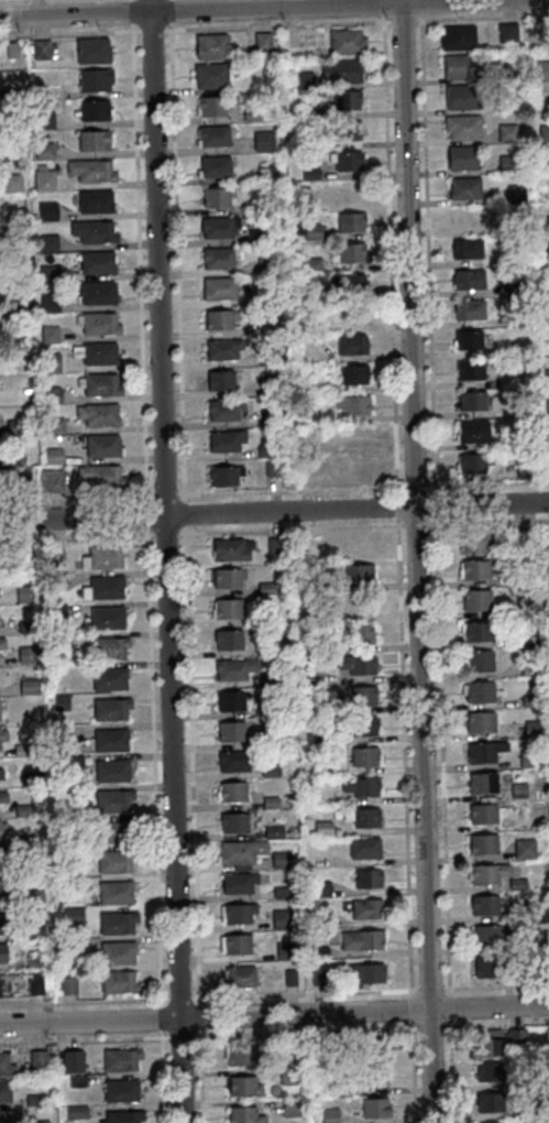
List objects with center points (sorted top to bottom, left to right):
road: (131, 0)
road: (150, 7)
road: (383, 8)
road: (421, 8)
road: (249, 9)
road: (171, 12)
road: (132, 13)
road: (481, 20)
road: (403, 23)
road: (277, 28)
road: (152, 32)
building: (507, 32)
road: (69, 34)
building: (458, 36)
building: (262, 40)
building: (345, 41)
building: (213, 45)
building: (41, 48)
building: (11, 50)
building: (91, 50)
building: (459, 65)
building: (541, 69)
building: (341, 70)
building: (210, 74)
building: (94, 78)
building: (303, 80)
building: (10, 94)
building: (459, 96)
building: (345, 99)
building: (215, 105)
building: (94, 110)
building: (308, 113)
building: (251, 115)
building: (43, 120)
building: (12, 123)
building: (462, 126)
building: (345, 130)
building: (543, 131)
building: (506, 132)
building: (213, 134)
building: (92, 140)
building: (262, 140)
building: (43, 150)
building: (11, 153)
building: (461, 157)
building: (345, 161)
building: (545, 162)
building: (507, 163)
building: (215, 165)
building: (90, 170)
building: (266, 173)
building: (309, 173)
building: (43, 179)
building: (11, 182)
building: (463, 187)
building: (344, 190)
building: (515, 193)
building: (215, 197)
building: (94, 200)
building: (308, 200)
building: (254, 205)
building: (46, 210)
building: (464, 218)
building: (350, 222)
building: (545, 225)
building: (218, 226)
building: (92, 231)
building: (311, 231)
building: (255, 235)
building: (47, 241)
building: (465, 249)
building: (350, 252)
road: (389, 254)
road: (428, 255)
building: (217, 257)
building: (96, 262)
road: (177, 263)
building: (311, 263)
building: (265, 264)
road: (139, 265)
building: (48, 272)
building: (468, 280)
building: (347, 284)
building: (547, 284)
building: (515, 285)
building: (219, 287)
building: (95, 292)
building: (48, 303)
building: (14, 306)
building: (469, 309)
building: (352, 314)
building: (219, 317)
building: (517, 317)
building: (97, 323)
building: (267, 326)
building: (48, 334)
building: (468, 339)
building: (351, 345)
building: (221, 348)
building: (96, 352)
building: (267, 356)
building: (50, 362)
building: (470, 370)
building: (354, 374)
building: (546, 375)
building: (220, 380)
building: (505, 380)
building: (99, 383)
building: (270, 385)
building: (326, 386)
building: (51, 395)
building: (32, 397)
building: (472, 400)
building: (351, 404)
building: (547, 406)
building: (224, 408)
building: (97, 414)
building: (270, 416)
building: (53, 425)
building: (14, 427)
building: (473, 430)
building: (354, 435)
building: (514, 437)
building: (548, 437)
building: (226, 439)
building: (102, 445)
building: (318, 447)
building: (265, 449)
building: (53, 455)
building: (14, 459)
building: (472, 461)
building: (272, 466)
building: (359, 467)
building: (547, 467)
building: (524, 469)
building: (100, 475)
building: (223, 475)
building: (50, 480)
building: (20, 483)
road: (487, 484)
road: (416, 488)
road: (290, 492)
road: (165, 498)
road: (75, 501)
road: (436, 506)
road: (398, 508)
road: (274, 512)
road: (185, 516)
road: (146, 517)
road: (490, 523)
road: (417, 526)
road: (292, 531)
road: (165, 535)
building: (526, 537)
road: (75, 538)
building: (477, 543)
building: (275, 545)
building: (229, 548)
building: (25, 554)
building: (54, 556)
building: (103, 556)
road: (416, 561)
road: (165, 568)
building: (474, 568)
building: (358, 573)
building: (523, 575)
building: (226, 577)
building: (57, 580)
building: (103, 588)
building: (265, 588)
building: (24, 593)
building: (476, 600)
building: (356, 604)
building: (526, 604)
building: (228, 608)
building: (57, 611)
building: (308, 613)
building: (107, 617)
building: (267, 617)
building: (25, 626)
building: (475, 631)
building: (355, 633)
building: (527, 635)
building: (228, 639)
building: (61, 641)
building: (1, 642)
building: (308, 645)
building: (108, 646)
building: (268, 648)
building: (25, 654)
building: (479, 661)
building: (356, 663)
building: (234, 667)
building: (529, 667)
building: (310, 676)
building: (109, 678)
building: (268, 678)
building: (29, 686)
building: (477, 690)
building: (362, 695)
building: (230, 700)
building: (529, 700)
building: (59, 701)
building: (110, 708)
building: (312, 708)
building: (267, 709)
building: (0, 710)
building: (480, 721)
building: (362, 726)
building: (531, 728)
building: (230, 731)
building: (2, 734)
building: (62, 734)
building: (267, 738)
building: (314, 738)
building: (109, 739)
building: (21, 749)
building: (483, 751)
building: (363, 756)
road: (442, 757)
building: (528, 757)
building: (233, 760)
road: (404, 760)
building: (70, 761)
road: (193, 768)
building: (111, 770)
road: (154, 770)
building: (270, 770)
building: (0, 774)
building: (29, 777)
building: (482, 782)
building: (360, 786)
building: (518, 789)
building: (232, 791)
building: (62, 794)
building: (3, 796)
building: (112, 799)
building: (270, 802)
building: (22, 809)
building: (482, 813)
building: (365, 817)
building: (63, 822)
building: (233, 822)
building: (322, 827)
building: (2, 829)
building: (112, 830)
building: (273, 831)
building: (23, 841)
building: (483, 843)
building: (364, 847)
building: (524, 848)
building: (240, 850)
building: (3, 854)
building: (64, 854)
building: (279, 859)
building: (114, 861)
building: (240, 866)
building: (25, 871)
building: (487, 872)
building: (367, 877)
building: (238, 881)
building: (72, 883)
building: (517, 883)
building: (320, 888)
building: (4, 890)
building: (113, 892)
building: (281, 892)
building: (33, 898)
building: (484, 905)
building: (366, 908)
building: (525, 911)
building: (238, 912)
building: (72, 915)
building: (281, 918)
building: (326, 919)
building: (3, 920)
building: (116, 922)
building: (34, 931)
building: (486, 935)
building: (361, 939)
building: (66, 944)
building: (237, 944)
building: (542, 946)
building: (284, 950)
building: (318, 951)
building: (2, 952)
building: (117, 952)
building: (33, 961)
building: (488, 966)
building: (370, 972)
building: (239, 975)
building: (316, 977)
building: (289, 978)
building: (118, 981)
building: (67, 984)
building: (0, 986)
building: (34, 986)
road: (496, 989)
road: (430, 991)
road: (305, 996)
road: (180, 1001)
road: (84, 1004)
road: (450, 1010)
road: (410, 1011)
road: (274, 1015)
road: (200, 1018)
road: (161, 1020)
road: (496, 1025)
road: (429, 1027)
road: (305, 1033)
building: (516, 1037)
road: (182, 1038)
road: (84, 1042)
building: (488, 1044)
building: (287, 1047)
building: (319, 1047)
building: (370, 1048)
building: (240, 1055)
building: (36, 1058)
building: (120, 1059)
building: (73, 1060)
building: (6, 1065)
building: (58, 1068)
building: (487, 1071)
road: (411, 1072)
road: (451, 1072)
building: (288, 1076)
road: (163, 1077)
road: (201, 1077)
building: (372, 1077)
building: (77, 1080)
building: (243, 1086)
building: (3, 1090)
building: (120, 1090)
building: (33, 1099)
building: (488, 1101)
building: (289, 1106)
building: (373, 1106)
building: (537, 1109)
building: (75, 1111)
building: (328, 1114)
building: (7, 1115)
building: (244, 1115)
building: (121, 1116)
building: (39, 1122)

